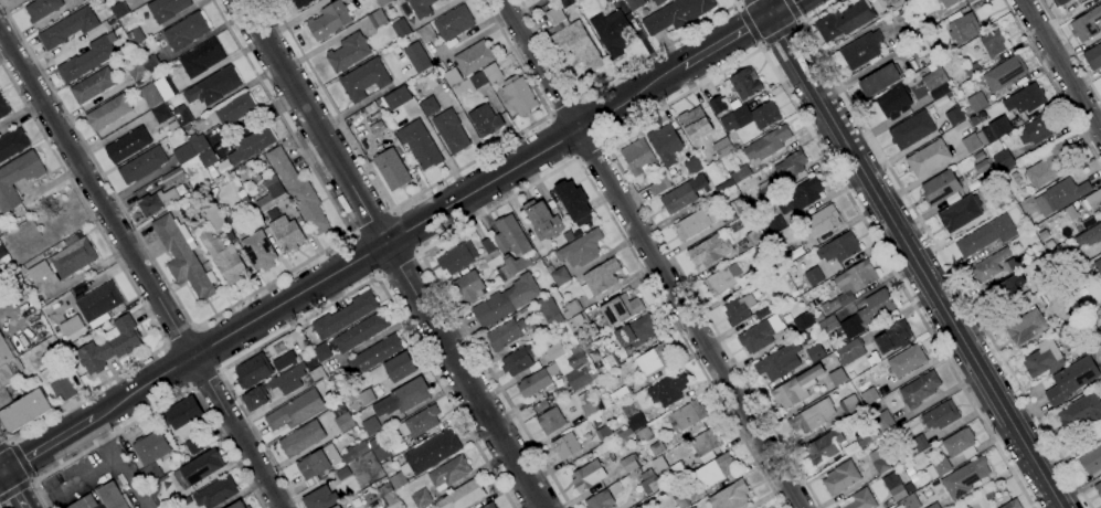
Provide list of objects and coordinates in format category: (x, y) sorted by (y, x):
building: (84, 0)
building: (606, 0)
building: (1052, 0)
building: (363, 2)
building: (382, 2)
building: (567, 2)
building: (658, 2)
building: (889, 2)
building: (1061, 2)
building: (300, 3)
road: (744, 3)
building: (950, 3)
building: (634, 4)
road: (738, 6)
building: (420, 7)
road: (766, 8)
road: (784, 8)
building: (41, 9)
building: (167, 9)
building: (118, 10)
road: (792, 10)
building: (676, 14)
traffic signals: (772, 15)
building: (377, 19)
building: (328, 20)
building: (910, 20)
road: (798, 21)
building: (845, 21)
building: (453, 23)
building: (1087, 24)
road: (749, 25)
building: (67, 28)
building: (400, 28)
building: (963, 29)
building: (186, 31)
building: (611, 32)
road: (779, 32)
building: (425, 33)
building: (135, 36)
building: (573, 40)
road: (727, 41)
building: (993, 43)
building: (935, 44)
road: (761, 45)
building: (920, 46)
building: (861, 50)
building: (348, 53)
road: (1069, 53)
building: (88, 57)
building: (416, 57)
building: (474, 57)
building: (1093, 57)
building: (201, 59)
building: (151, 63)
road: (1061, 65)
road: (728, 66)
building: (973, 70)
building: (137, 71)
building: (1005, 74)
building: (484, 76)
road: (610, 78)
building: (363, 80)
building: (879, 80)
building: (935, 82)
road: (1050, 84)
building: (93, 86)
building: (744, 86)
building: (213, 87)
building: (166, 88)
building: (150, 95)
building: (519, 95)
building: (395, 98)
building: (1025, 99)
building: (893, 102)
building: (976, 103)
building: (428, 106)
road: (564, 106)
building: (717, 106)
building: (3, 108)
building: (235, 110)
building: (108, 113)
building: (161, 114)
building: (181, 116)
building: (954, 116)
building: (750, 117)
road: (590, 119)
building: (486, 121)
building: (695, 123)
building: (173, 127)
building: (996, 128)
building: (1037, 129)
building: (451, 130)
building: (911, 130)
road: (562, 136)
building: (198, 142)
building: (12, 144)
building: (665, 144)
building: (767, 144)
building: (971, 144)
building: (128, 145)
building: (251, 145)
building: (420, 145)
building: (722, 147)
road: (587, 149)
building: (183, 154)
building: (638, 157)
building: (208, 158)
building: (928, 158)
building: (731, 160)
building: (1004, 161)
building: (791, 165)
building: (141, 166)
building: (692, 166)
building: (1047, 166)
building: (981, 167)
building: (392, 169)
building: (743, 172)
road: (543, 176)
building: (18, 177)
building: (173, 177)
building: (974, 184)
building: (659, 186)
building: (724, 188)
building: (940, 188)
road: (424, 191)
building: (299, 192)
building: (271, 194)
building: (684, 194)
building: (802, 195)
building: (1058, 197)
building: (1094, 201)
building: (157, 202)
building: (573, 202)
building: (247, 207)
building: (739, 207)
building: (960, 213)
building: (1071, 213)
building: (542, 220)
building: (216, 221)
building: (822, 221)
road: (372, 222)
building: (1088, 222)
building: (695, 223)
road: (405, 231)
building: (286, 233)
building: (986, 235)
building: (510, 236)
building: (1089, 236)
road: (388, 243)
building: (487, 245)
road: (934, 245)
building: (581, 248)
building: (839, 248)
building: (258, 251)
building: (710, 251)
building: (2, 253)
road: (391, 254)
road: (652, 254)
building: (73, 256)
building: (183, 256)
building: (457, 257)
building: (223, 258)
building: (493, 258)
building: (1070, 260)
building: (764, 262)
road: (918, 262)
building: (1013, 264)
road: (396, 265)
building: (989, 265)
building: (512, 266)
building: (1098, 266)
road: (140, 267)
building: (39, 271)
building: (0, 274)
building: (561, 276)
building: (814, 276)
building: (724, 277)
building: (600, 278)
building: (1077, 279)
building: (1040, 281)
building: (850, 285)
building: (468, 287)
road: (134, 292)
building: (1005, 292)
road: (345, 297)
building: (506, 300)
building: (99, 303)
building: (571, 309)
building: (620, 309)
building: (739, 309)
building: (549, 310)
road: (227, 311)
building: (867, 313)
building: (345, 315)
building: (803, 321)
building: (578, 324)
building: (72, 326)
building: (829, 327)
building: (1026, 328)
building: (1100, 329)
building: (361, 331)
building: (636, 331)
building: (761, 334)
building: (506, 335)
building: (1062, 336)
building: (124, 337)
building: (892, 337)
road: (181, 338)
road: (208, 350)
building: (818, 350)
building: (849, 351)
building: (4, 352)
building: (321, 352)
building: (552, 353)
building: (374, 354)
building: (94, 356)
building: (654, 358)
building: (1044, 359)
building: (285, 361)
building: (517, 361)
building: (780, 361)
building: (906, 361)
building: (607, 364)
road: (178, 366)
building: (400, 367)
building: (14, 371)
building: (253, 371)
building: (580, 371)
building: (317, 374)
building: (837, 378)
road: (204, 379)
building: (288, 380)
building: (339, 380)
building: (538, 380)
building: (1071, 380)
building: (62, 388)
building: (794, 388)
building: (920, 389)
building: (667, 390)
building: (621, 394)
building: (869, 396)
building: (366, 398)
building: (403, 398)
building: (254, 399)
building: (4, 400)
building: (586, 404)
road: (159, 405)
building: (849, 405)
building: (25, 411)
building: (295, 411)
building: (1081, 412)
building: (183, 413)
building: (689, 414)
building: (940, 415)
building: (812, 416)
building: (633, 417)
building: (551, 421)
building: (345, 422)
building: (420, 422)
building: (885, 424)
building: (370, 425)
building: (603, 432)
building: (644, 435)
building: (868, 436)
building: (624, 437)
building: (301, 440)
road: (9, 442)
building: (198, 442)
building: (913, 444)
building: (960, 444)
road: (4, 445)
building: (705, 445)
road: (47, 446)
building: (565, 446)
building: (825, 446)
building: (379, 448)
building: (354, 452)
building: (151, 455)
building: (426, 456)
road: (19, 461)
building: (1091, 461)
building: (880, 463)
building: (629, 464)
building: (314, 465)
building: (200, 468)
building: (939, 468)
building: (678, 469)
road: (1, 470)
building: (712, 470)
building: (448, 473)
road: (1, 474)
traffic signals: (3, 474)
building: (587, 476)
building: (840, 478)
building: (964, 478)
road: (31, 480)
building: (649, 483)
building: (893, 487)
road: (14, 488)
building: (1098, 488)
road: (12, 490)
building: (215, 493)
building: (388, 495)
building: (109, 496)
building: (462, 496)
building: (730, 496)
building: (321, 498)
building: (421, 498)
building: (680, 498)
building: (859, 499)
building: (601, 500)
building: (910, 501)
building: (84, 502)
building: (237, 505)
building: (1012, 505)
building: (490, 506)
building: (899, 506)
building: (934, 506)
building: (336, 507)
building: (402, 507)
building: (694, 507)

